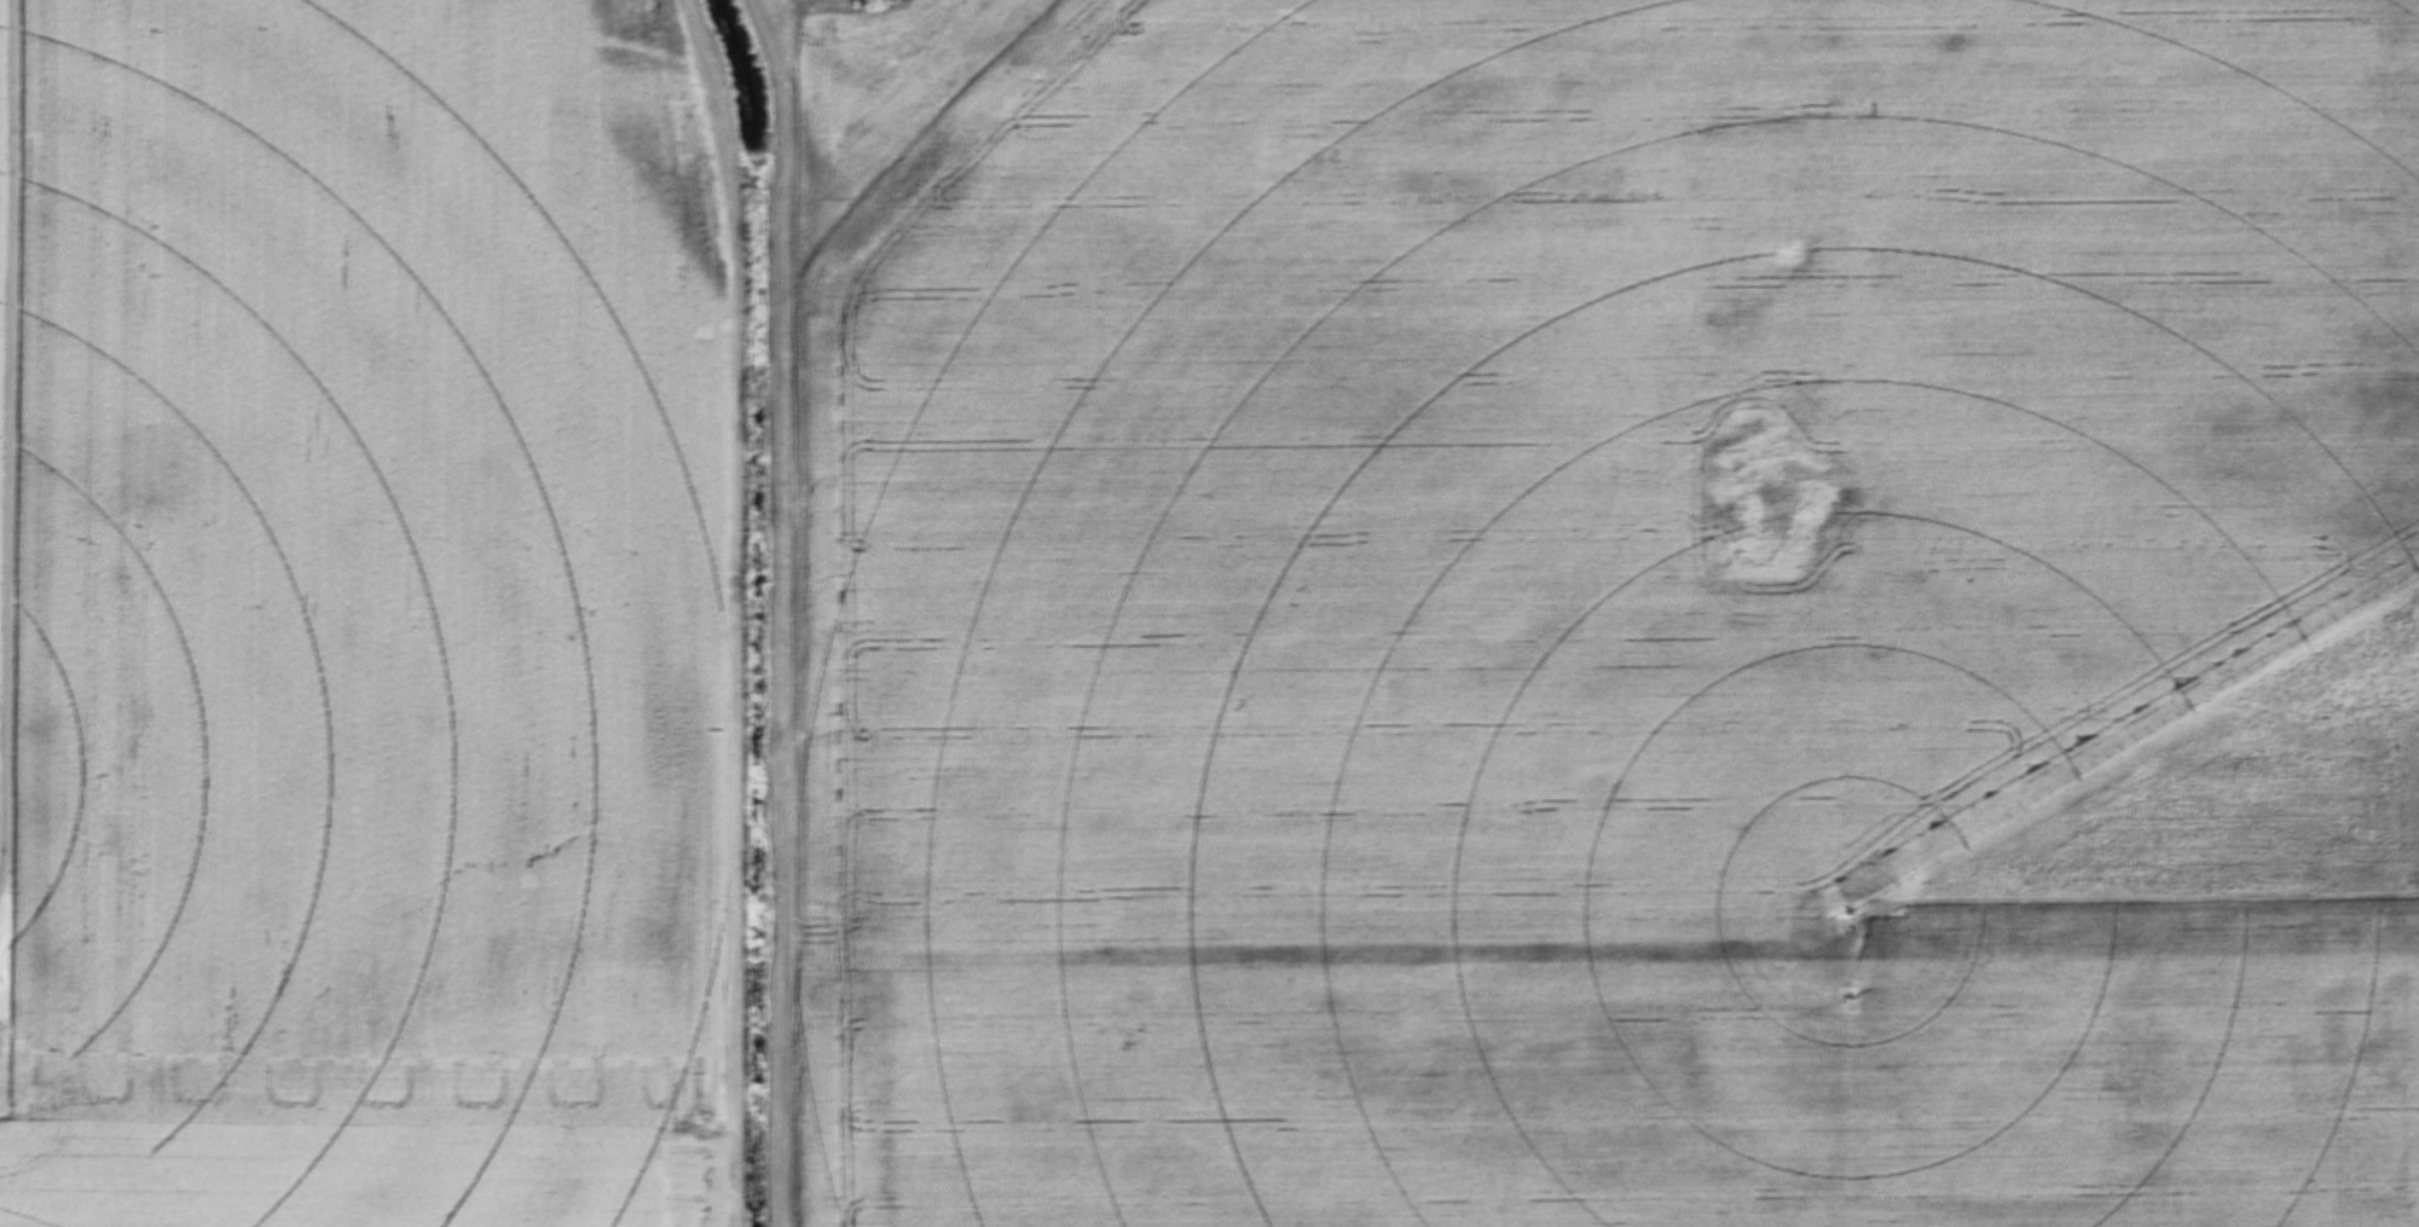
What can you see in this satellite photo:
road: (12, 480)
crop: (1596, 603)

